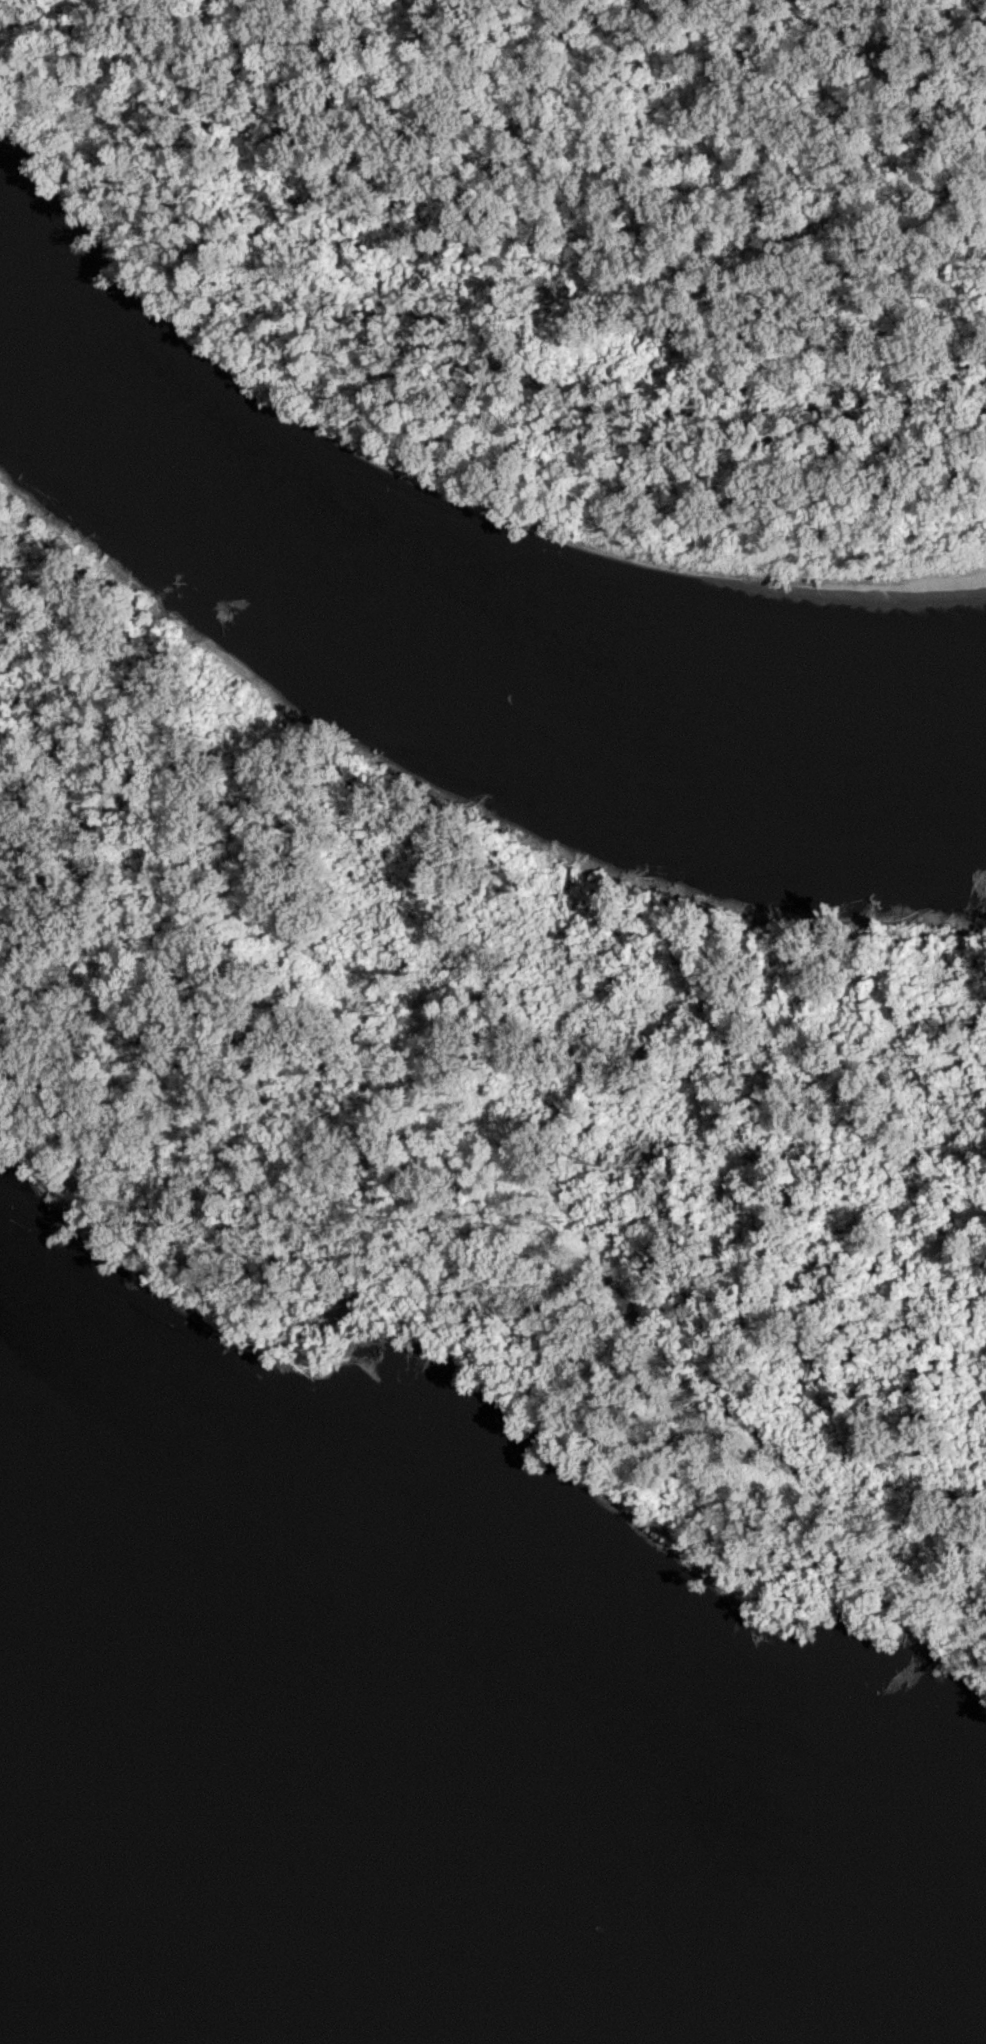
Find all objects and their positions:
river: (433, 654)
river: (344, 1897)

